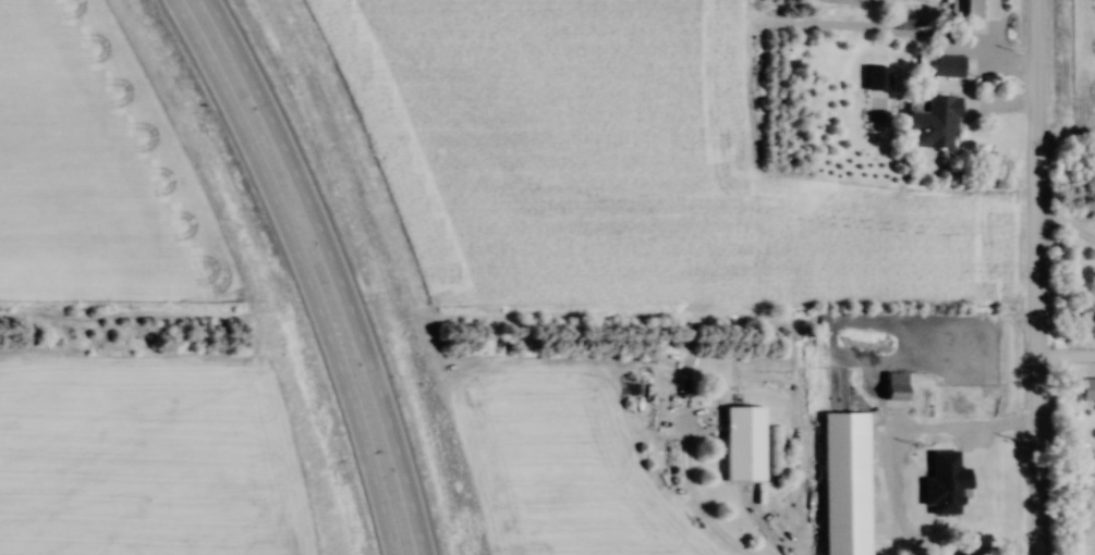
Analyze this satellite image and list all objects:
building: (978, 9)
crop: (1085, 61)
building: (948, 64)
building: (939, 121)
crop: (626, 161)
road: (307, 269)
road: (340, 270)
road: (1030, 277)
road: (1062, 360)
building: (342, 384)
building: (893, 384)
building: (1084, 391)
building: (741, 442)
building: (775, 451)
crop: (144, 455)
crop: (558, 458)
building: (844, 482)
building: (950, 482)
road: (690, 493)

